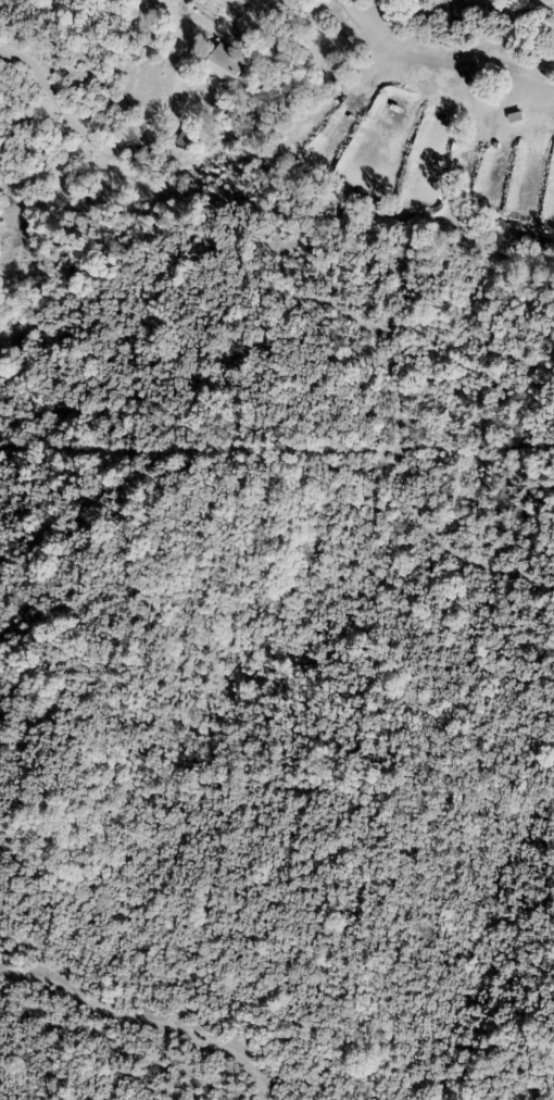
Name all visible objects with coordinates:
building: (226, 64)

